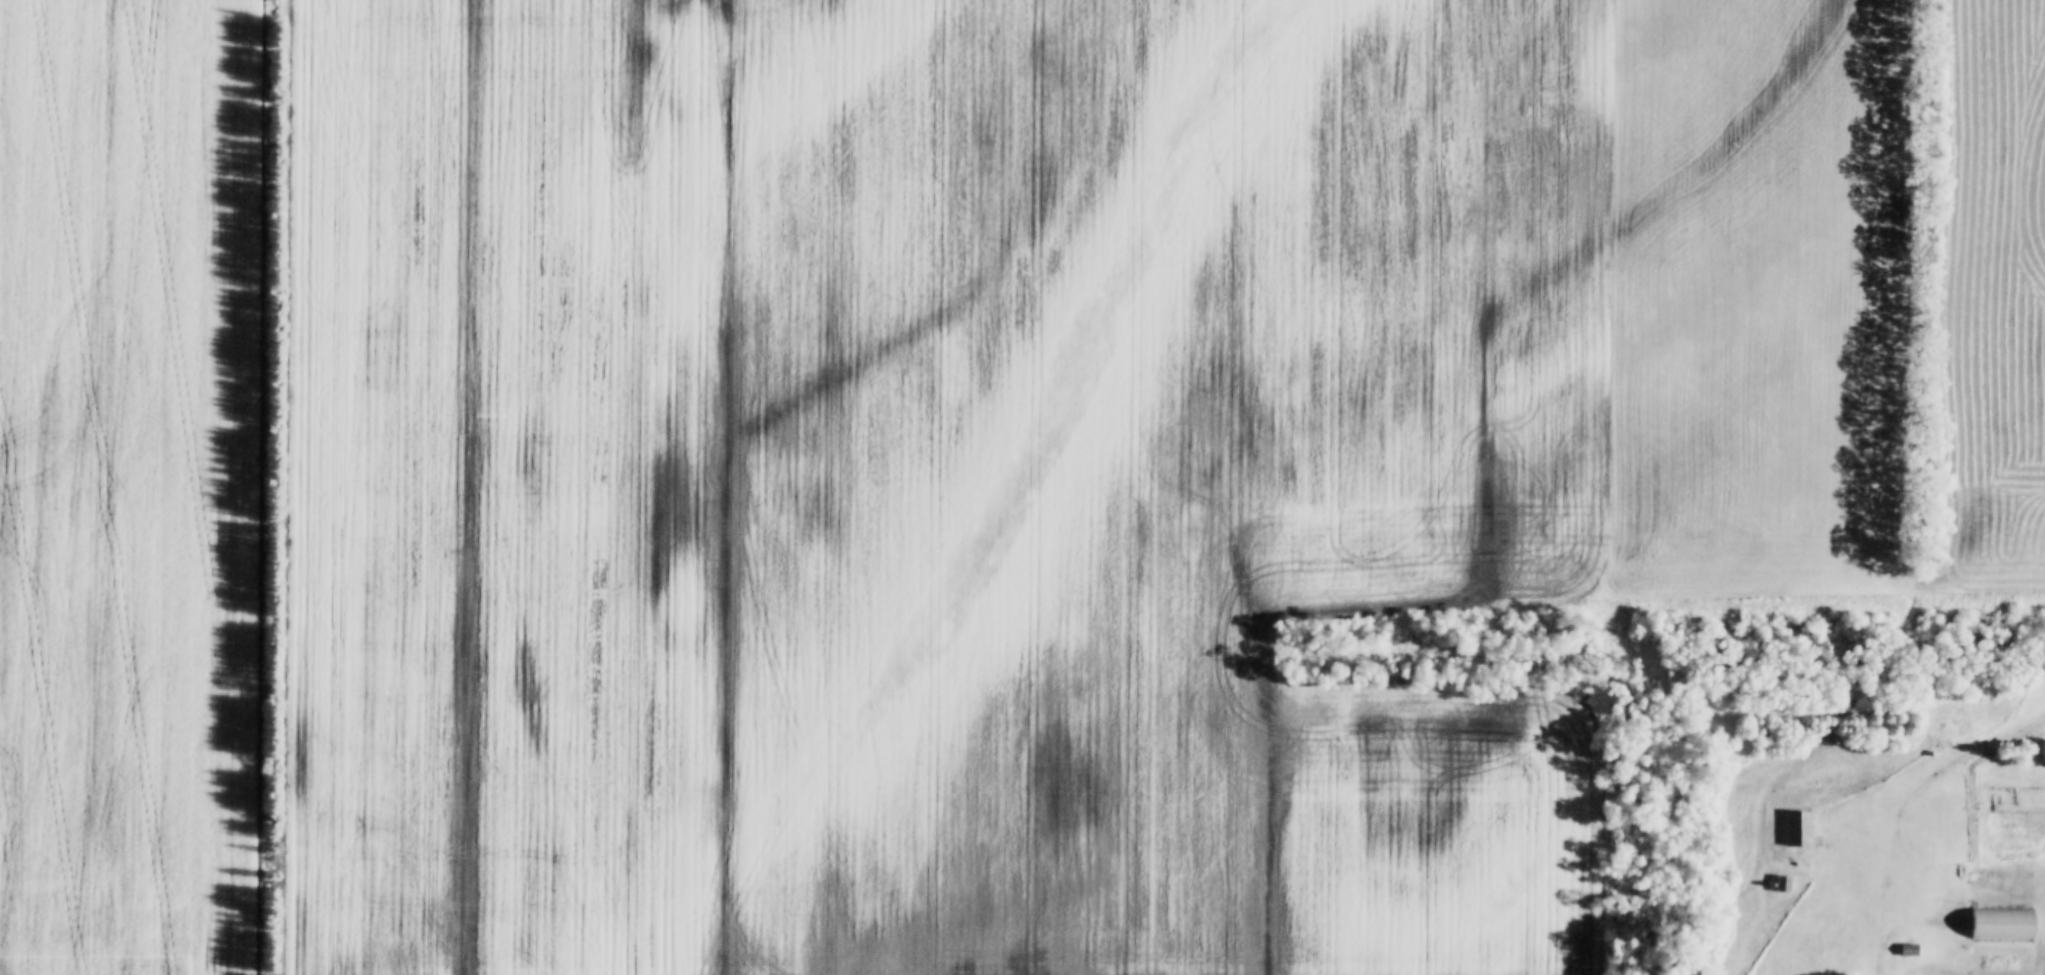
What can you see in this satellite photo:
road: (1909, 808)
building: (1795, 831)
building: (1780, 886)
building: (1999, 924)
building: (1906, 952)

